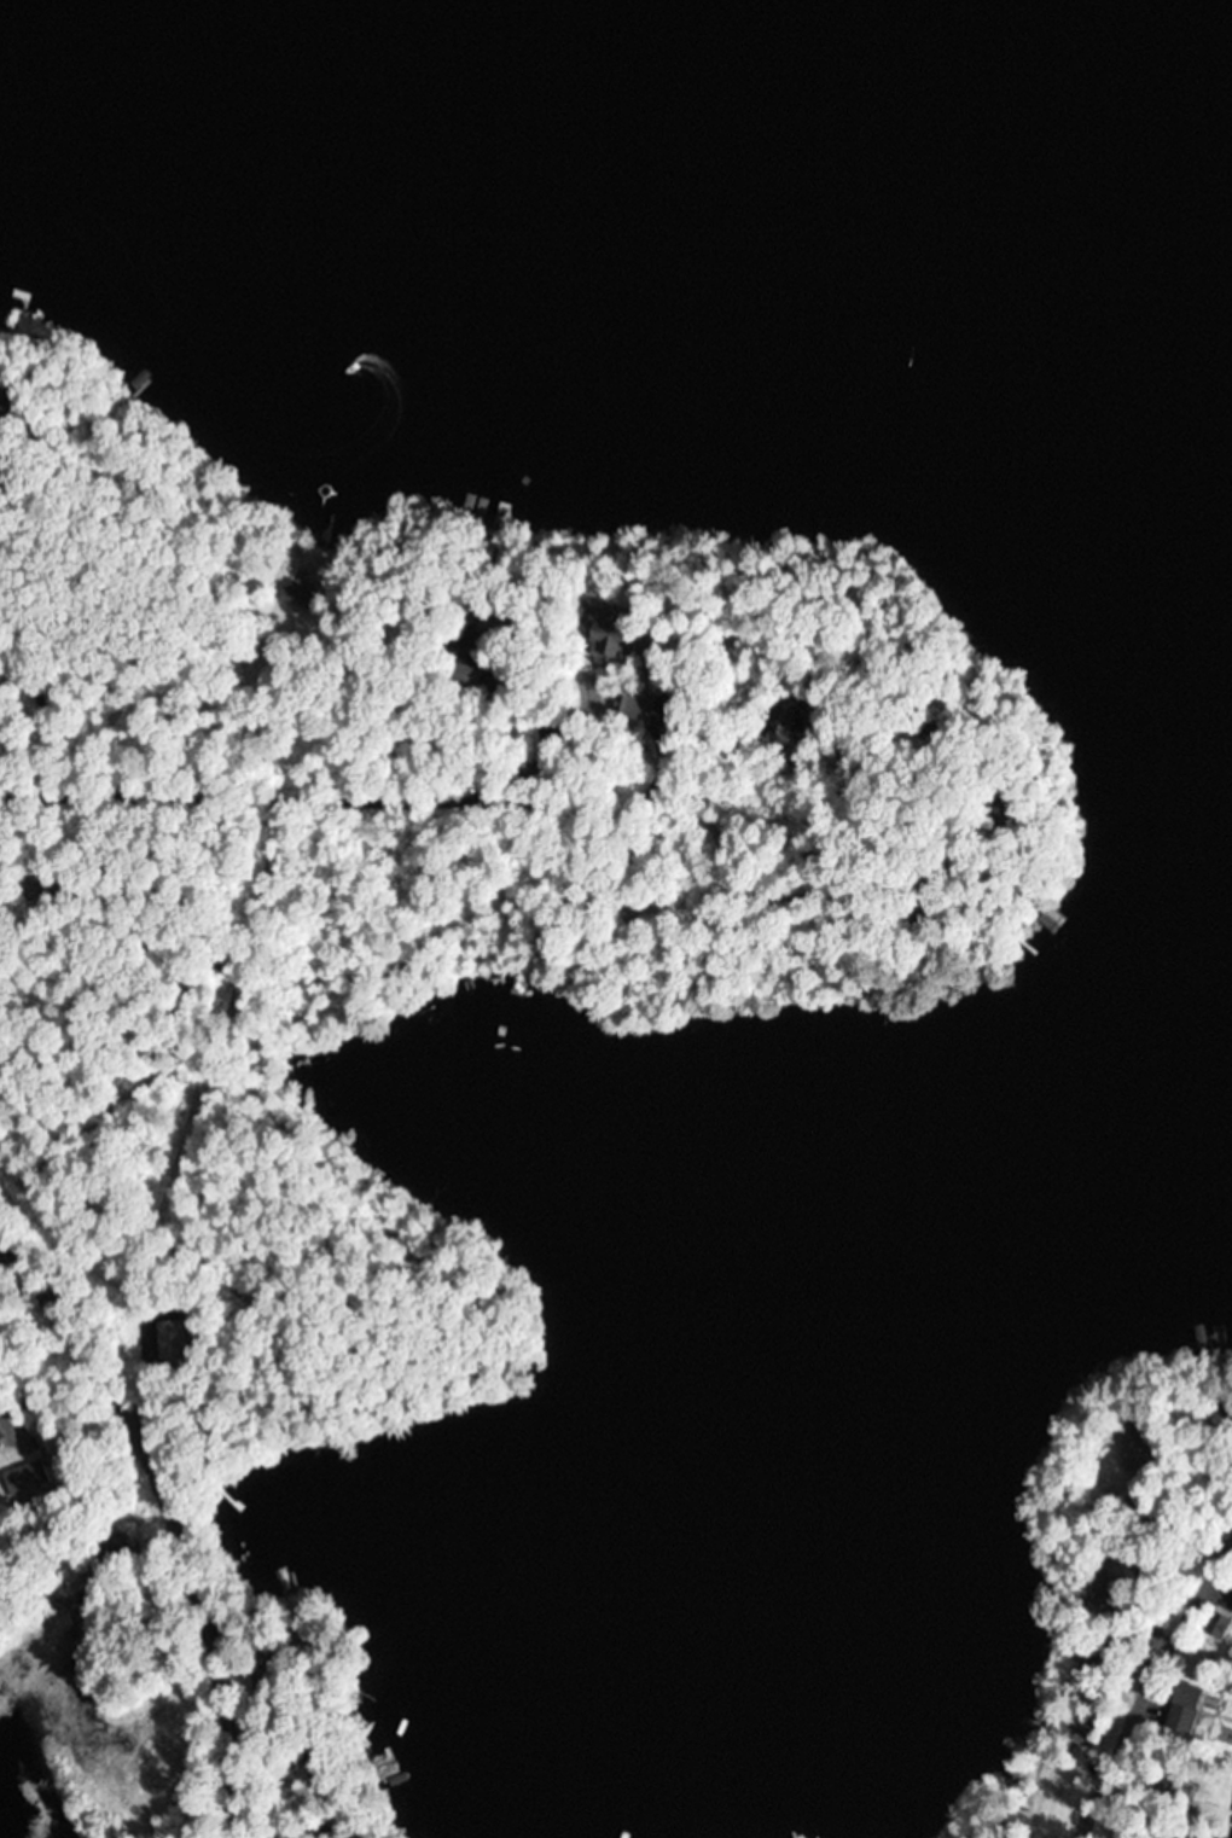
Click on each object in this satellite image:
building: (606, 635)
building: (460, 677)
building: (628, 704)
road: (332, 805)
building: (174, 1330)
building: (25, 1479)
road: (172, 1518)
building: (1230, 1607)
road: (1146, 1673)
building: (1144, 1700)
building: (1178, 1710)

